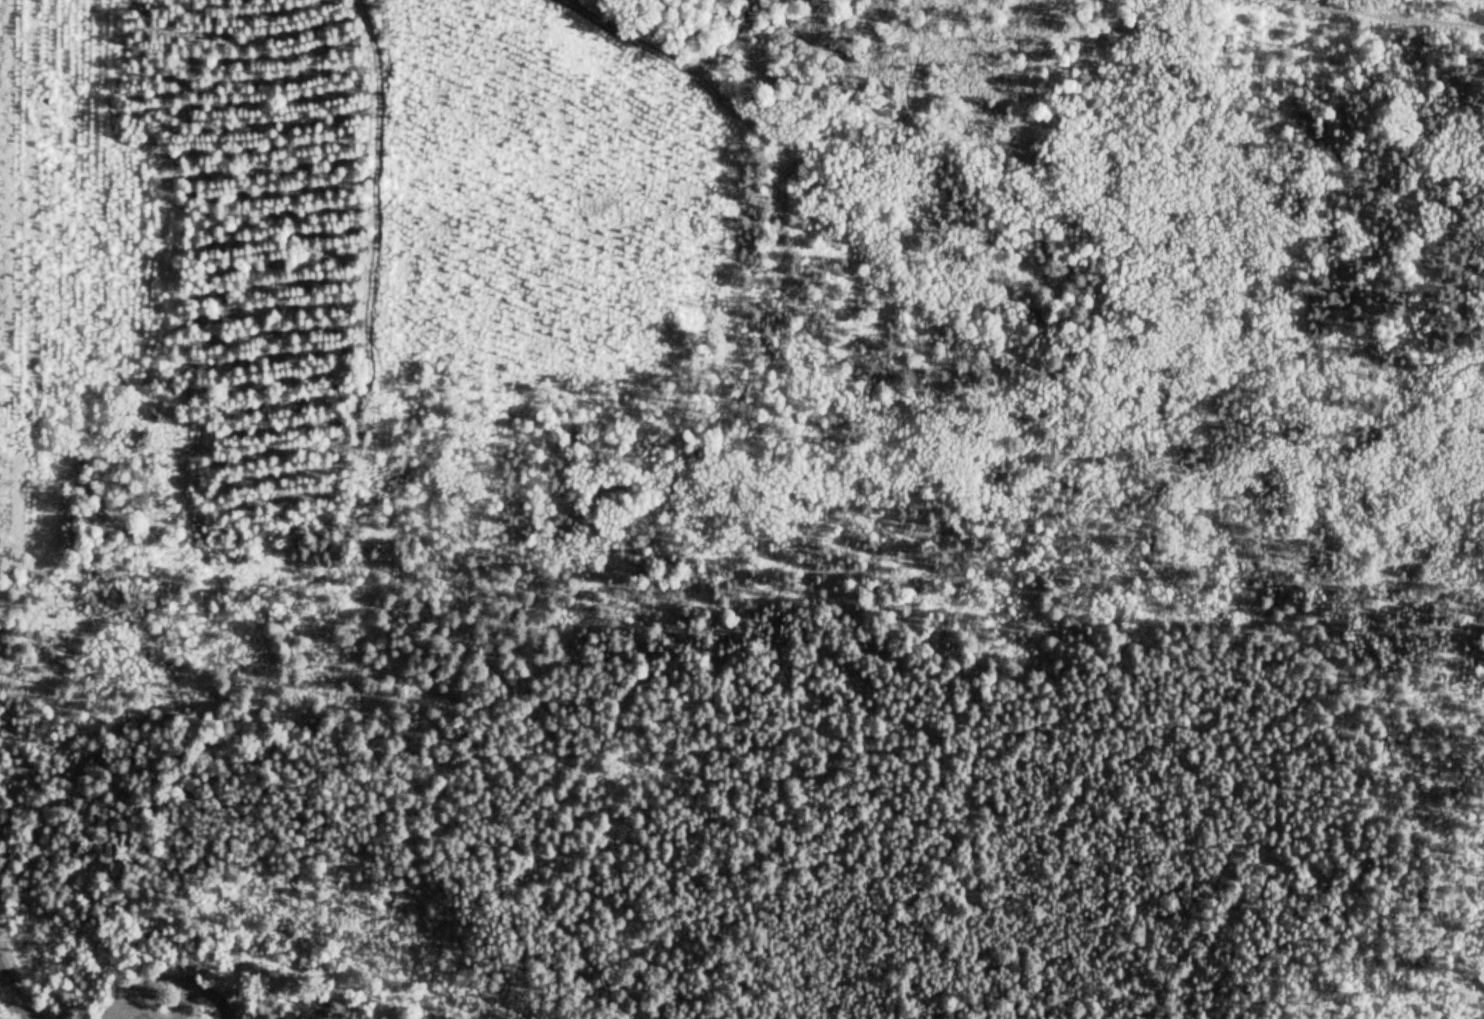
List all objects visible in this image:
road: (12, 1002)

